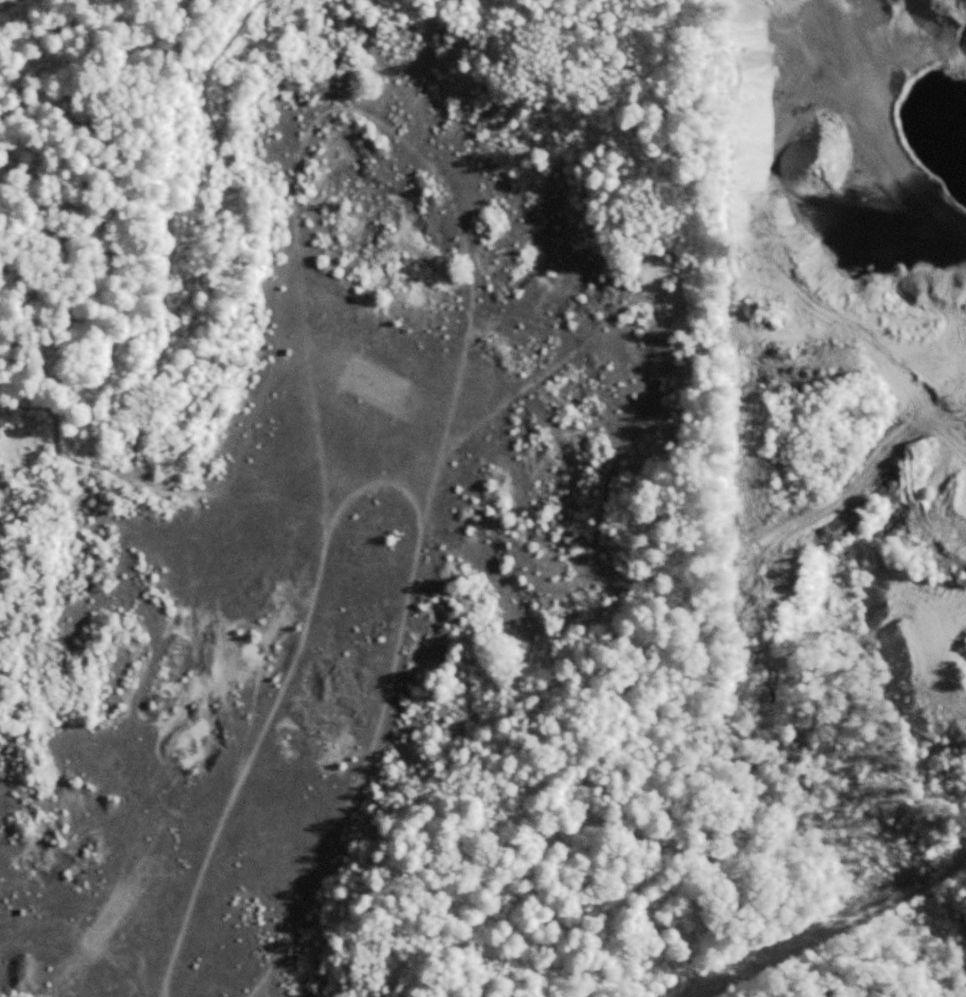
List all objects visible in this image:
quarry: (925, 286)

